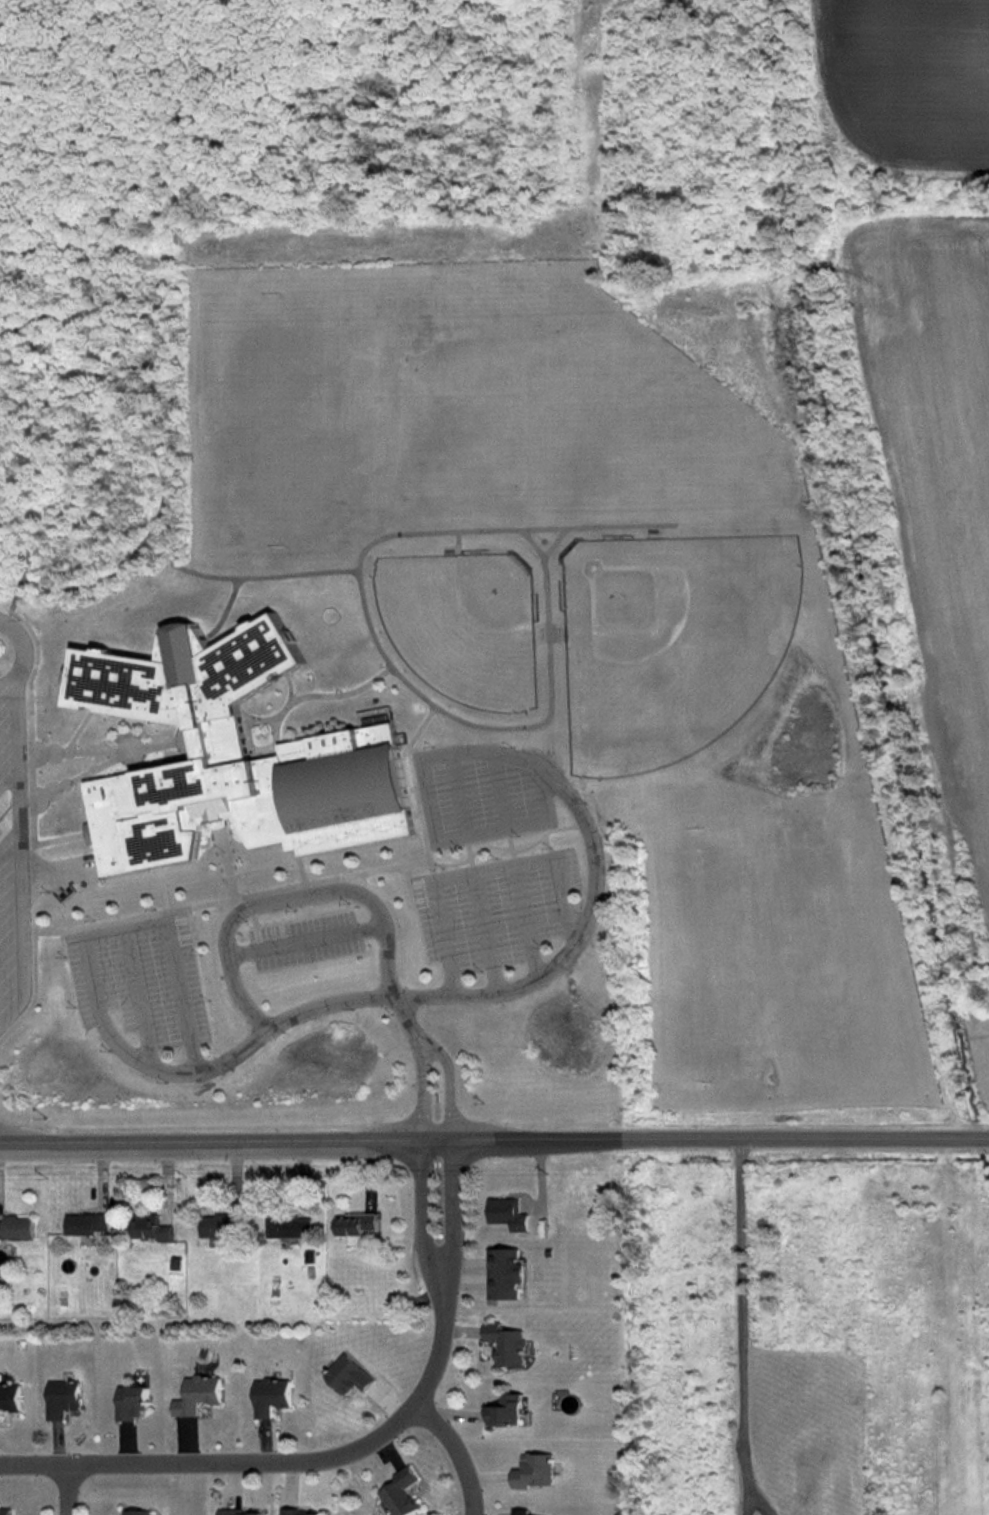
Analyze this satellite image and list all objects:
building: (224, 755)
road: (598, 871)
road: (287, 895)
road: (213, 1066)
road: (449, 1095)
road: (421, 1099)
road: (494, 1142)
road: (421, 1202)
road: (448, 1202)
building: (507, 1214)
building: (86, 1224)
building: (355, 1224)
building: (221, 1226)
building: (16, 1227)
building: (289, 1227)
building: (150, 1228)
building: (504, 1274)
road: (740, 1332)
building: (506, 1344)
building: (348, 1375)
building: (197, 1395)
building: (271, 1396)
building: (9, 1397)
building: (62, 1398)
building: (132, 1402)
building: (507, 1410)
road: (456, 1450)
road: (287, 1462)
building: (534, 1471)
road: (64, 1489)
building: (401, 1493)
road: (746, 1499)
building: (5, 1511)
building: (137, 1512)
building: (235, 1512)
building: (300, 1512)
building: (520, 1512)

